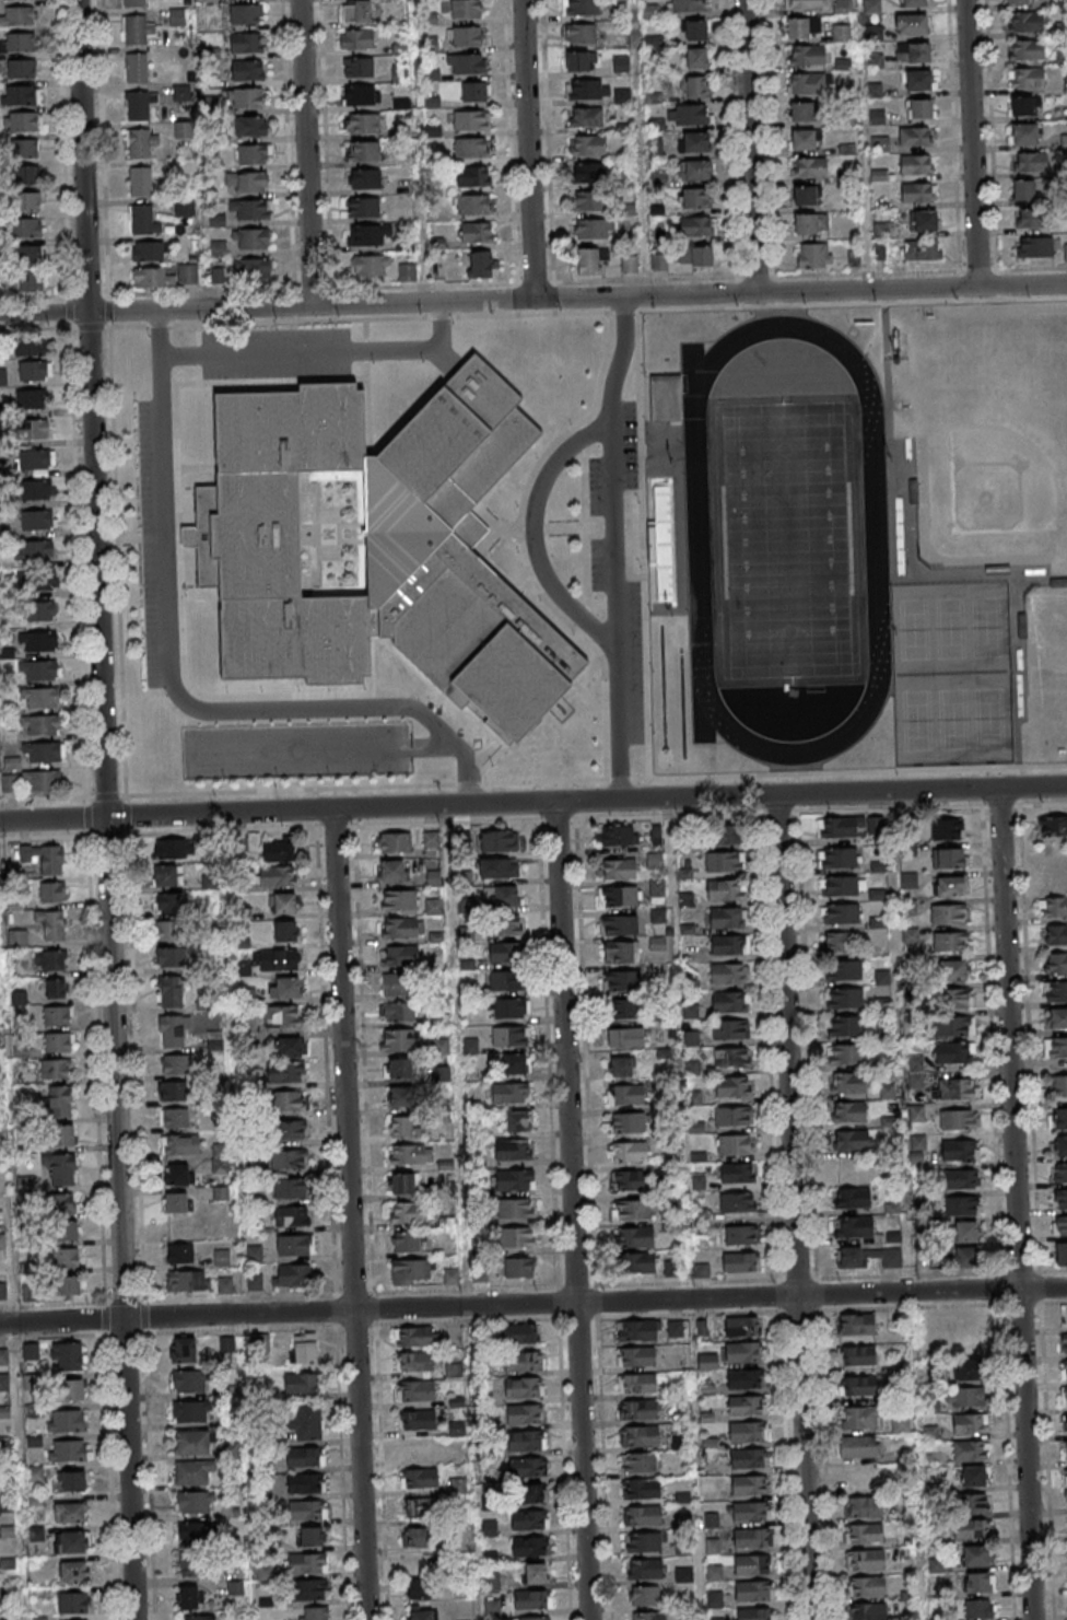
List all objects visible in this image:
building: (1019, 1)
building: (133, 3)
building: (805, 3)
building: (914, 3)
building: (689, 5)
building: (581, 7)
building: (842, 7)
building: (871, 7)
building: (466, 9)
building: (357, 11)
building: (245, 15)
building: (20, 16)
building: (1025, 22)
building: (911, 25)
building: (801, 26)
building: (139, 28)
building: (695, 30)
building: (876, 30)
building: (581, 33)
building: (841, 33)
building: (468, 36)
building: (356, 39)
building: (20, 43)
building: (247, 43)
building: (1025, 49)
building: (913, 53)
building: (806, 55)
building: (696, 58)
building: (579, 60)
building: (465, 63)
building: (137, 68)
building: (359, 68)
building: (22, 69)
building: (247, 70)
building: (399, 73)
building: (1025, 78)
building: (918, 80)
building: (810, 83)
building: (696, 86)
building: (588, 89)
building: (875, 90)
building: (474, 91)
building: (181, 93)
building: (22, 94)
building: (360, 96)
building: (246, 97)
building: (402, 104)
building: (139, 105)
building: (1021, 105)
building: (919, 107)
building: (801, 110)
building: (688, 115)
building: (585, 117)
building: (470, 120)
building: (23, 121)
building: (364, 124)
building: (251, 126)
building: (183, 130)
building: (1024, 133)
building: (915, 136)
building: (802, 139)
building: (693, 141)
building: (1064, 141)
building: (141, 142)
road: (971, 143)
building: (587, 144)
building: (471, 147)
road: (749, 147)
road: (640, 148)
building: (24, 149)
road: (527, 150)
road: (417, 151)
building: (362, 152)
road: (305, 153)
building: (254, 155)
building: (1030, 161)
building: (916, 164)
building: (809, 167)
building: (694, 170)
building: (589, 172)
building: (25, 175)
building: (472, 176)
building: (658, 178)
building: (365, 179)
building: (140, 180)
building: (248, 182)
building: (1023, 189)
building: (918, 191)
building: (807, 195)
building: (693, 198)
building: (30, 200)
building: (588, 200)
building: (473, 203)
building: (185, 208)
building: (363, 208)
building: (251, 210)
building: (1030, 218)
building: (143, 220)
building: (923, 220)
building: (810, 222)
building: (697, 226)
building: (30, 228)
building: (594, 229)
building: (477, 232)
building: (368, 236)
building: (253, 240)
building: (1034, 246)
building: (918, 248)
building: (148, 252)
building: (1065, 252)
building: (32, 255)
building: (813, 255)
building: (694, 256)
building: (588, 261)
building: (480, 264)
building: (629, 264)
building: (371, 268)
building: (254, 270)
building: (407, 272)
building: (166, 277)
building: (30, 282)
road: (533, 299)
building: (32, 346)
road: (320, 352)
building: (35, 370)
building: (3, 376)
building: (31, 398)
building: (663, 398)
building: (34, 429)
building: (38, 459)
road: (614, 468)
park: (989, 473)
building: (36, 490)
building: (37, 521)
road: (532, 534)
park: (785, 540)
park: (785, 540)
track: (873, 540)
building: (378, 548)
building: (34, 551)
building: (37, 580)
building: (39, 611)
park: (984, 628)
park: (948, 629)
park: (912, 630)
building: (40, 641)
park: (1046, 667)
building: (39, 671)
road: (173, 684)
building: (40, 697)
park: (987, 719)
road: (619, 720)
park: (951, 720)
park: (915, 721)
building: (43, 726)
road: (327, 750)
building: (45, 753)
road: (423, 753)
building: (42, 781)
building: (9, 783)
road: (585, 801)
road: (104, 809)
road: (52, 818)
building: (851, 826)
building: (1052, 826)
building: (948, 828)
building: (727, 834)
building: (617, 835)
building: (431, 839)
building: (497, 840)
building: (392, 843)
building: (174, 848)
building: (278, 849)
building: (45, 858)
building: (839, 858)
building: (948, 858)
building: (654, 860)
building: (725, 861)
building: (879, 866)
building: (496, 867)
building: (618, 867)
building: (391, 871)
building: (168, 874)
building: (278, 875)
building: (433, 878)
building: (1054, 879)
building: (949, 885)
building: (842, 886)
building: (725, 889)
building: (657, 890)
building: (51, 891)
building: (620, 895)
building: (500, 897)
building: (399, 899)
building: (171, 902)
building: (283, 902)
building: (466, 906)
building: (434, 907)
building: (1053, 907)
building: (948, 913)
building: (657, 914)
building: (841, 914)
building: (727, 917)
building: (51, 923)
building: (619, 924)
building: (501, 925)
building: (402, 926)
building: (172, 930)
building: (285, 931)
building: (1055, 934)
building: (839, 941)
building: (657, 942)
building: (950, 942)
building: (729, 944)
building: (621, 951)
building: (504, 952)
building: (399, 955)
building: (176, 956)
building: (274, 959)
building: (49, 960)
building: (1055, 961)
building: (842, 970)
building: (952, 970)
building: (729, 972)
building: (506, 980)
building: (621, 980)
building: (398, 983)
building: (285, 988)
building: (56, 989)
building: (1055, 990)
building: (172, 991)
building: (19, 998)
building: (844, 998)
building: (955, 998)
building: (729, 1001)
building: (511, 1007)
building: (624, 1009)
building: (397, 1011)
building: (57, 1015)
building: (282, 1015)
building: (1057, 1017)
building: (845, 1026)
building: (953, 1027)
building: (729, 1029)
building: (171, 1030)
building: (511, 1035)
building: (624, 1037)
building: (399, 1039)
building: (59, 1041)
building: (441, 1046)
building: (290, 1047)
building: (1055, 1047)
building: (953, 1053)
building: (845, 1054)
building: (731, 1057)
building: (174, 1063)
building: (515, 1063)
building: (620, 1065)
building: (399, 1068)
building: (56, 1069)
building: (285, 1071)
building: (848, 1083)
building: (1058, 1085)
building: (732, 1086)
building: (173, 1089)
building: (955, 1091)
building: (887, 1092)
building: (511, 1093)
building: (625, 1094)
building: (400, 1096)
building: (288, 1099)
building: (60, 1100)
building: (847, 1111)
building: (731, 1116)
building: (174, 1117)
building: (1059, 1118)
building: (958, 1119)
building: (515, 1120)
building: (628, 1121)
building: (400, 1126)
building: (291, 1130)
building: (63, 1135)
building: (849, 1140)
building: (180, 1144)
building: (734, 1144)
building: (1059, 1145)
building: (513, 1150)
building: (960, 1150)
building: (628, 1151)
building: (410, 1154)
building: (220, 1158)
building: (288, 1159)
building: (60, 1167)
building: (849, 1168)
building: (735, 1172)
building: (1059, 1172)
building: (178, 1175)
building: (515, 1178)
building: (960, 1178)
building: (630, 1179)
building: (404, 1182)
building: (290, 1188)
building: (852, 1197)
building: (1059, 1199)
building: (737, 1201)
building: (61, 1203)
building: (177, 1203)
road: (1017, 1203)
building: (961, 1204)
road: (793, 1208)
building: (515, 1209)
building: (631, 1209)
road: (571, 1211)
building: (411, 1212)
road: (349, 1214)
building: (291, 1216)
building: (447, 1221)
building: (254, 1226)
building: (854, 1226)
building: (1059, 1226)
building: (185, 1227)
building: (65, 1229)
building: (966, 1231)
building: (740, 1234)
building: (634, 1236)
building: (517, 1237)
building: (2, 1240)
building: (406, 1243)
building: (294, 1245)
building: (255, 1254)
building: (180, 1255)
building: (1060, 1255)
building: (888, 1256)
building: (67, 1257)
building: (849, 1257)
building: (966, 1257)
building: (222, 1258)
building: (638, 1261)
building: (740, 1261)
building: (672, 1267)
building: (1, 1268)
building: (518, 1268)
building: (411, 1271)
building: (292, 1275)
building: (450, 1277)
building: (188, 1282)
building: (255, 1282)
building: (69, 1285)
building: (225, 1285)
building: (3, 1291)
building: (28, 1292)
road: (532, 1304)
building: (855, 1322)
building: (739, 1326)
building: (675, 1327)
building: (637, 1329)
building: (520, 1332)
building: (415, 1337)
building: (1063, 1342)
building: (305, 1347)
building: (183, 1351)
building: (31, 1352)
building: (740, 1352)
building: (856, 1355)
building: (3, 1356)
building: (635, 1356)
building: (68, 1357)
building: (521, 1360)
building: (707, 1361)
building: (413, 1362)
building: (1064, 1368)
building: (454, 1370)
building: (968, 1370)
building: (742, 1379)
building: (4, 1382)
building: (31, 1382)
building: (189, 1382)
building: (303, 1383)
building: (636, 1383)
building: (857, 1385)
building: (524, 1386)
building: (70, 1389)
building: (415, 1391)
building: (1065, 1395)
building: (966, 1396)
building: (743, 1406)
building: (934, 1407)
building: (638, 1409)
building: (4, 1412)
building: (190, 1412)
building: (524, 1413)
building: (857, 1417)
building: (66, 1420)
building: (308, 1420)
building: (418, 1420)
building: (1066, 1420)
building: (900, 1423)
building: (970, 1423)
building: (743, 1432)
building: (930, 1432)
building: (638, 1435)
building: (525, 1440)
building: (192, 1443)
building: (855, 1446)
building: (67, 1449)
building: (419, 1449)
road: (783, 1449)
building: (970, 1449)
building: (304, 1456)
building: (458, 1457)
building: (746, 1458)
building: (638, 1462)
building: (527, 1467)
building: (194, 1472)
building: (1066, 1475)
building: (974, 1476)
building: (419, 1478)
building: (74, 1480)
building: (306, 1483)
building: (746, 1484)
building: (458, 1485)
building: (642, 1489)
building: (525, 1493)
building: (1066, 1499)
building: (195, 1503)
building: (970, 1503)
building: (419, 1506)
building: (864, 1506)
building: (306, 1510)
building: (70, 1511)
building: (748, 1512)
building: (642, 1516)
building: (529, 1519)
building: (489, 1528)
building: (969, 1529)
building: (864, 1532)
building: (197, 1534)
building: (310, 1536)
building: (420, 1536)
building: (749, 1538)
building: (73, 1541)
building: (645, 1542)
building: (529, 1546)
building: (974, 1555)
building: (866, 1559)
building: (307, 1562)
building: (190, 1563)
building: (422, 1565)
building: (750, 1565)
building: (644, 1567)
building: (74, 1571)
building: (536, 1572)
building: (712, 1573)
building: (974, 1582)
building: (866, 1586)
building: (312, 1588)
building: (419, 1588)
building: (750, 1592)
building: (644, 1595)
building: (188, 1597)
building: (527, 1599)
building: (73, 1601)
building: (492, 1607)
building: (975, 1609)
building: (868, 1611)
building: (314, 1612)
building: (421, 1613)
building: (752, 1613)
building: (648, 1616)
building: (198, 1618)
building: (533, 1618)

